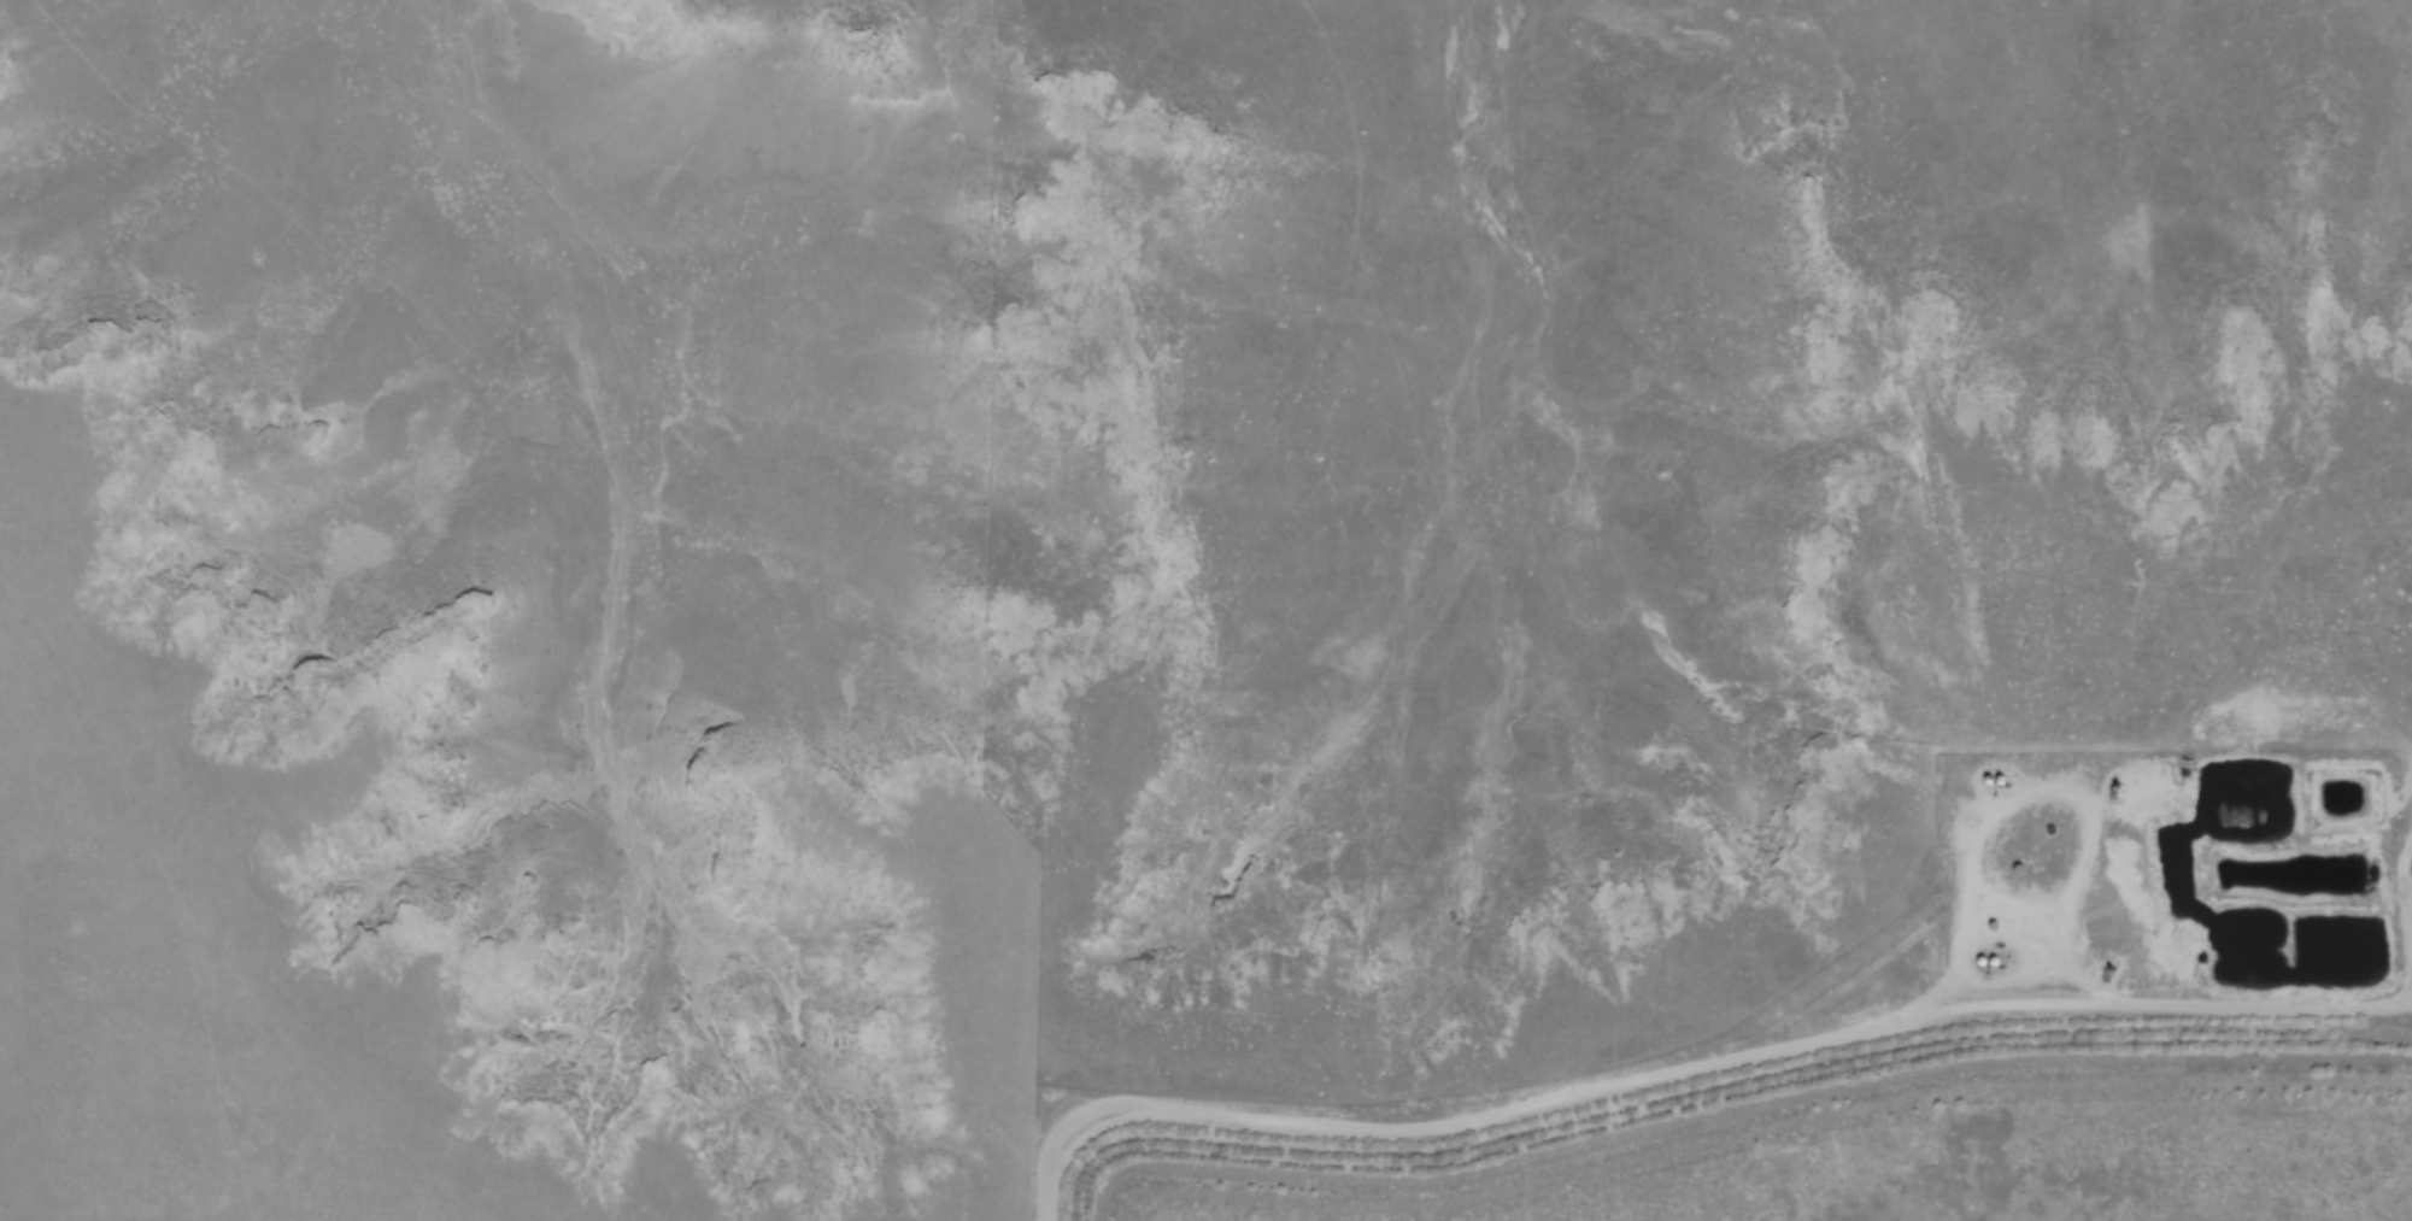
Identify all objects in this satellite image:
building: (1995, 776)
storage tank: (1995, 776)
building: (2009, 777)
storage tank: (2009, 777)
road: (2034, 787)
road: (2407, 892)
building: (1990, 957)
storage tank: (1990, 957)
building: (2005, 958)
storage tank: (2005, 958)
road: (1773, 1047)
road: (1068, 1140)

